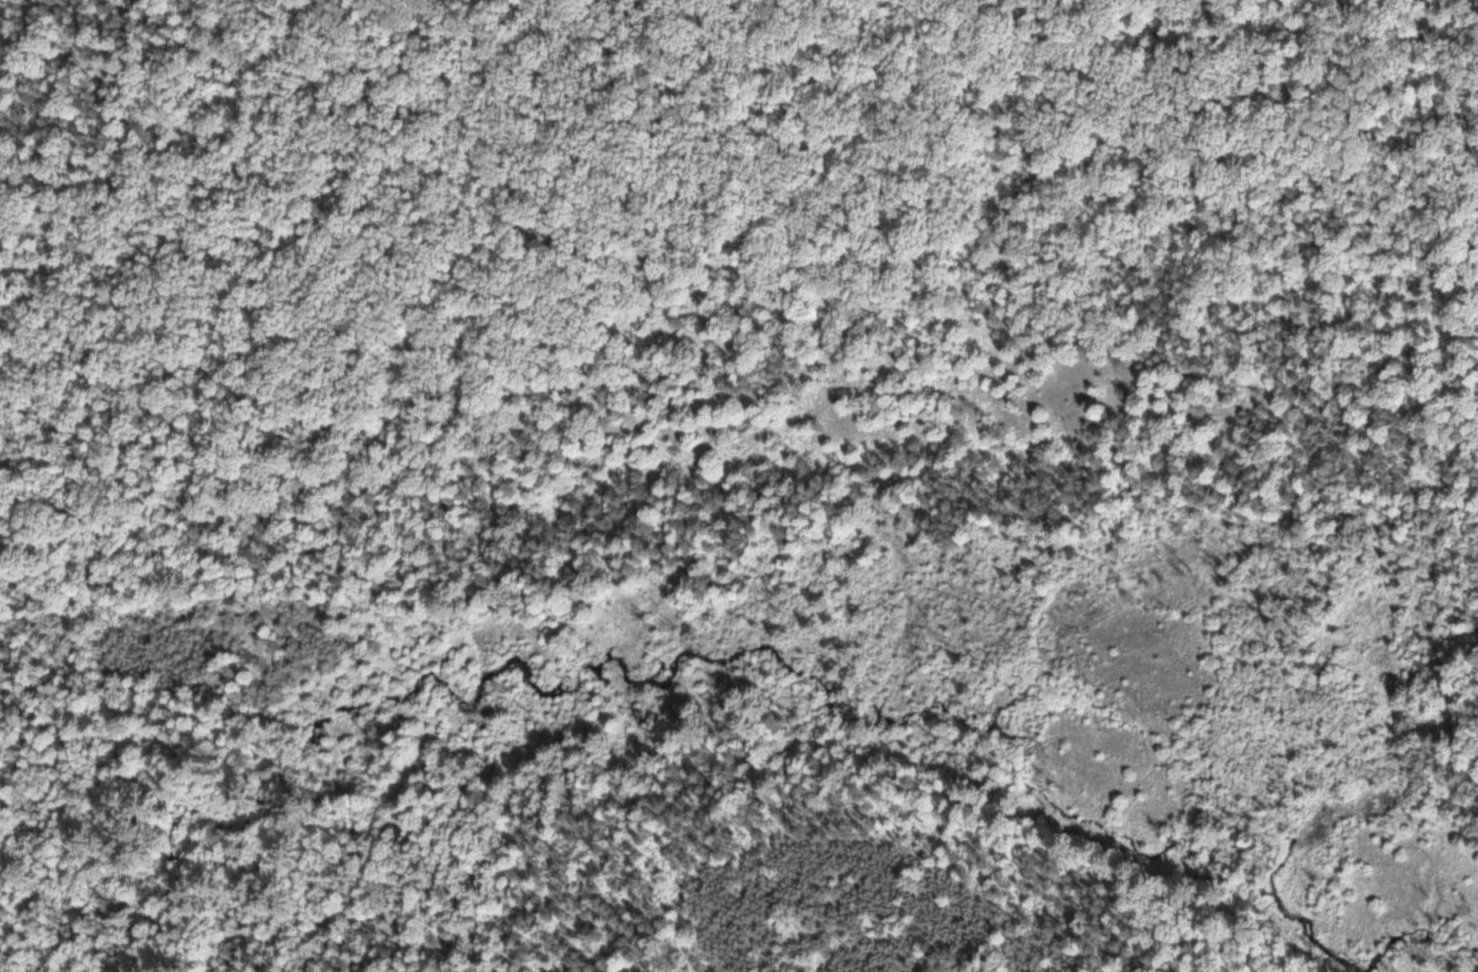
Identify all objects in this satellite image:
road: (749, 126)

